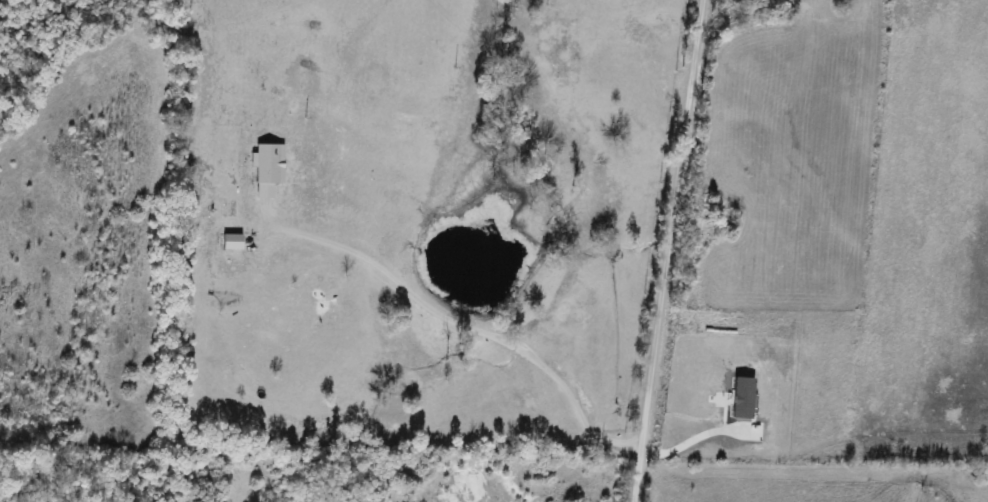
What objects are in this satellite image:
road: (665, 250)
road: (463, 324)
road: (687, 442)

